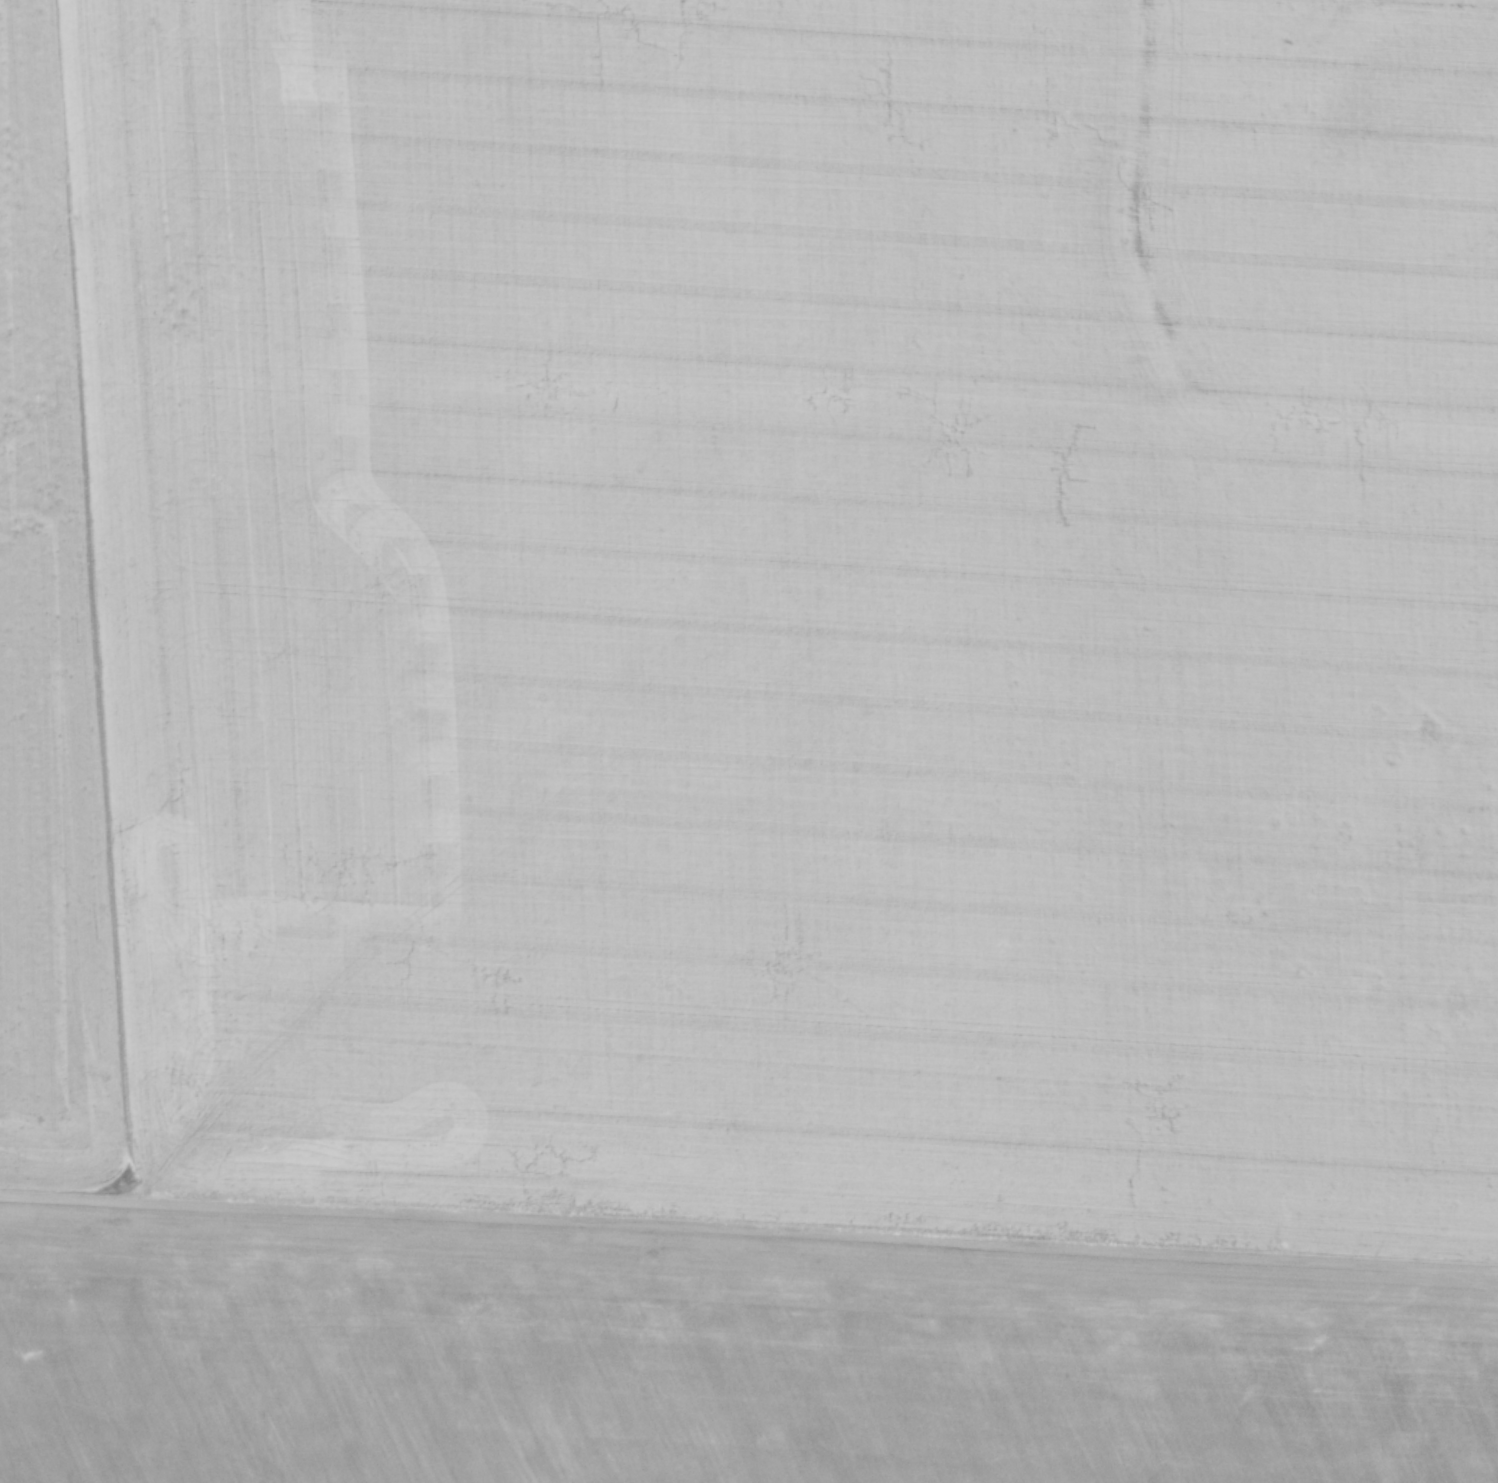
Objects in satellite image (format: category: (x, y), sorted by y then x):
road: (749, 1235)

